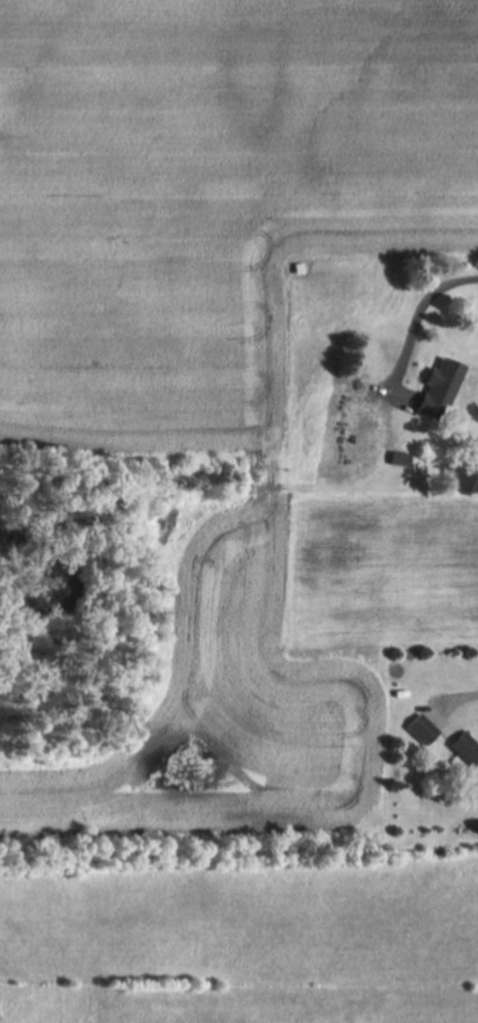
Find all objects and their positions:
road: (423, 306)
building: (372, 356)
building: (357, 430)
building: (403, 458)
building: (422, 729)
building: (466, 748)

